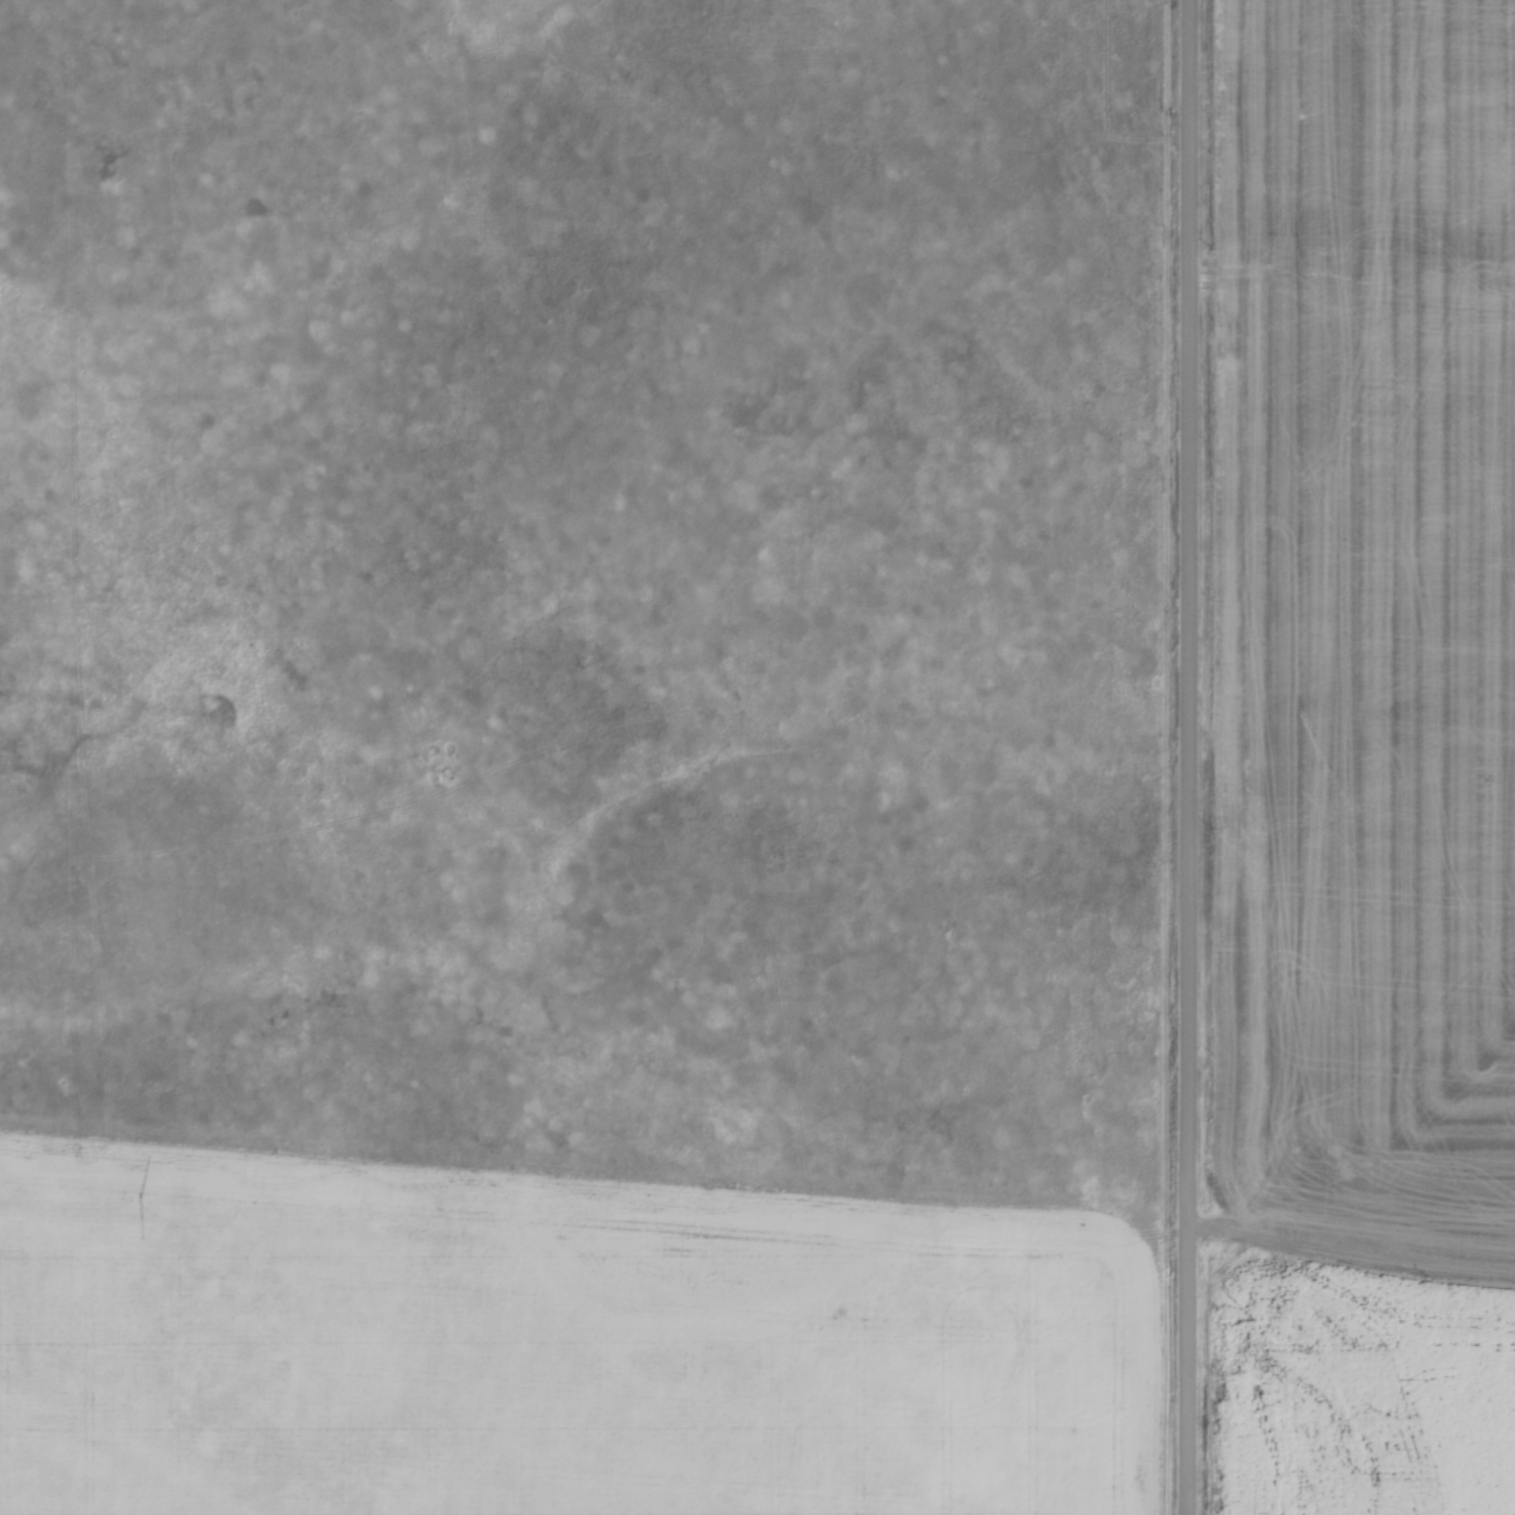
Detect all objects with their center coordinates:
road: (1187, 757)
road: (1351, 1246)

